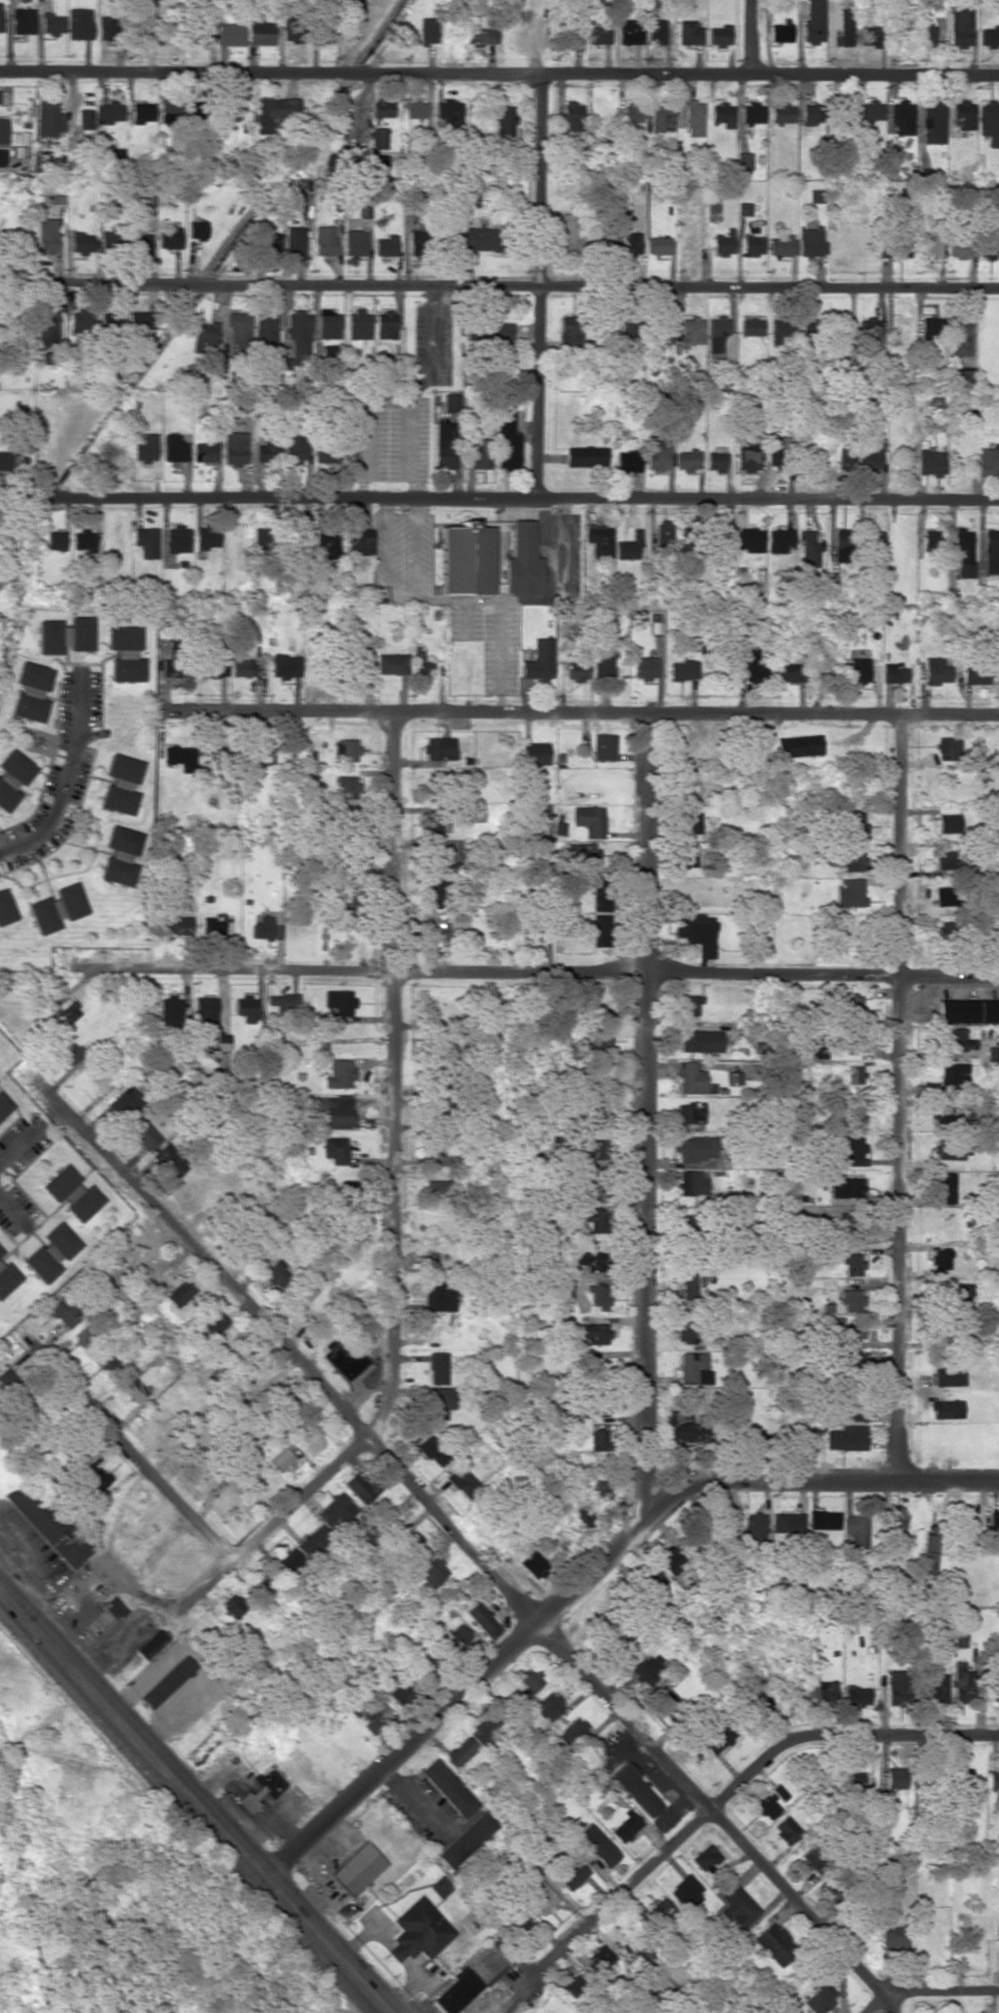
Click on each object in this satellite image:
building: (354, 8)
building: (0, 16)
building: (22, 20)
building: (813, 21)
building: (51, 23)
building: (79, 23)
building: (138, 26)
building: (960, 26)
building: (481, 27)
building: (110, 28)
building: (428, 30)
building: (599, 30)
building: (845, 30)
building: (261, 31)
building: (655, 31)
building: (781, 31)
building: (291, 32)
building: (628, 32)
building: (689, 32)
building: (572, 33)
building: (231, 34)
building: (719, 35)
road: (753, 35)
building: (869, 35)
building: (924, 36)
building: (989, 36)
road: (499, 75)
building: (383, 108)
building: (198, 109)
building: (872, 110)
building: (272, 111)
building: (416, 111)
building: (448, 111)
building: (109, 112)
building: (142, 112)
building: (228, 112)
building: (782, 112)
building: (631, 113)
building: (751, 113)
building: (813, 113)
building: (721, 114)
building: (962, 114)
building: (572, 116)
building: (86, 118)
building: (661, 118)
building: (693, 118)
building: (902, 118)
building: (49, 119)
building: (504, 119)
building: (932, 121)
building: (989, 122)
building: (3, 131)
building: (22, 137)
building: (379, 138)
building: (332, 150)
building: (2, 157)
building: (743, 160)
building: (379, 164)
building: (474, 192)
building: (815, 196)
building: (742, 208)
building: (197, 229)
building: (568, 232)
building: (47, 235)
building: (324, 235)
building: (356, 237)
building: (478, 237)
building: (169, 238)
building: (417, 240)
building: (82, 242)
building: (295, 242)
building: (597, 242)
building: (722, 242)
building: (810, 242)
building: (272, 243)
building: (628, 244)
building: (687, 244)
building: (895, 244)
building: (140, 245)
building: (386, 245)
building: (657, 245)
building: (751, 245)
building: (781, 245)
building: (959, 247)
building: (929, 248)
building: (988, 249)
road: (499, 285)
road: (541, 285)
building: (110, 320)
building: (141, 320)
building: (80, 321)
building: (328, 323)
building: (358, 324)
building: (839, 324)
building: (751, 326)
building: (808, 327)
building: (46, 328)
building: (237, 328)
building: (265, 328)
building: (868, 328)
building: (931, 328)
building: (388, 329)
building: (779, 329)
building: (497, 330)
building: (690, 330)
building: (299, 331)
building: (203, 334)
building: (568, 334)
building: (718, 336)
building: (958, 336)
building: (962, 378)
building: (451, 402)
building: (507, 440)
building: (445, 445)
building: (234, 447)
building: (295, 447)
building: (145, 448)
building: (173, 448)
building: (777, 448)
building: (267, 449)
building: (204, 451)
building: (326, 454)
building: (479, 455)
building: (845, 455)
building: (871, 455)
building: (585, 456)
building: (656, 457)
building: (747, 457)
building: (3, 459)
building: (686, 459)
building: (627, 460)
building: (715, 460)
building: (929, 462)
building: (987, 462)
road: (499, 497)
building: (717, 531)
building: (663, 535)
building: (207, 537)
building: (177, 539)
building: (748, 539)
building: (873, 539)
building: (931, 539)
building: (55, 540)
building: (83, 540)
building: (260, 540)
building: (599, 540)
building: (779, 540)
building: (146, 541)
building: (360, 541)
building: (328, 542)
building: (300, 544)
building: (629, 547)
building: (808, 549)
building: (961, 551)
building: (990, 551)
building: (464, 558)
building: (522, 561)
building: (64, 635)
building: (124, 653)
building: (538, 660)
building: (391, 663)
building: (421, 663)
building: (751, 664)
building: (602, 665)
building: (285, 666)
building: (215, 667)
building: (243, 667)
building: (576, 667)
building: (644, 667)
building: (681, 669)
building: (858, 669)
building: (830, 670)
building: (787, 671)
building: (935, 671)
building: (998, 672)
building: (893, 673)
building: (973, 675)
building: (30, 691)
road: (277, 712)
road: (695, 713)
building: (798, 745)
building: (603, 746)
building: (440, 748)
building: (948, 748)
building: (346, 750)
building: (534, 753)
building: (179, 754)
building: (261, 755)
building: (12, 777)
road: (66, 781)
building: (347, 783)
building: (120, 784)
building: (345, 813)
building: (589, 819)
building: (690, 822)
building: (854, 822)
building: (948, 822)
building: (441, 825)
building: (582, 853)
building: (119, 855)
building: (943, 857)
building: (686, 858)
building: (851, 860)
building: (439, 892)
building: (849, 892)
building: (600, 894)
building: (342, 896)
building: (943, 896)
building: (5, 907)
building: (57, 908)
building: (457, 920)
building: (213, 923)
building: (175, 924)
building: (263, 927)
building: (944, 928)
building: (600, 930)
building: (696, 932)
building: (434, 935)
road: (509, 969)
building: (283, 1001)
building: (338, 1001)
building: (689, 1003)
building: (850, 1003)
building: (246, 1007)
building: (67, 1010)
building: (170, 1010)
building: (967, 1010)
building: (700, 1040)
building: (596, 1041)
building: (961, 1041)
building: (68, 1051)
building: (337, 1074)
building: (953, 1074)
road: (391, 1075)
building: (854, 1075)
building: (690, 1078)
road: (900, 1096)
road: (641, 1098)
building: (124, 1103)
building: (3, 1107)
building: (331, 1111)
building: (595, 1111)
building: (690, 1112)
building: (941, 1114)
building: (854, 1116)
building: (144, 1132)
road: (28, 1134)
building: (436, 1143)
building: (695, 1148)
building: (950, 1148)
building: (334, 1149)
building: (590, 1149)
building: (853, 1151)
building: (171, 1159)
building: (691, 1182)
building: (598, 1186)
building: (846, 1186)
building: (944, 1187)
building: (438, 1189)
building: (71, 1193)
building: (348, 1204)
building: (594, 1219)
building: (848, 1222)
building: (685, 1229)
road: (184, 1239)
building: (0, 1252)
building: (50, 1252)
building: (940, 1258)
building: (588, 1259)
building: (852, 1263)
building: (274, 1273)
building: (6, 1277)
building: (688, 1278)
building: (563, 1289)
building: (953, 1291)
building: (179, 1293)
building: (437, 1295)
building: (598, 1296)
building: (852, 1299)
building: (63, 1312)
building: (213, 1324)
building: (851, 1330)
building: (596, 1332)
building: (688, 1332)
building: (85, 1336)
building: (229, 1348)
building: (343, 1359)
building: (108, 1363)
building: (691, 1366)
building: (437, 1367)
building: (252, 1374)
building: (8, 1376)
building: (948, 1376)
building: (134, 1389)
building: (439, 1401)
building: (26, 1408)
building: (597, 1408)
building: (946, 1409)
building: (856, 1413)
building: (682, 1426)
building: (846, 1437)
building: (599, 1440)
building: (433, 1450)
road: (135, 1455)
building: (282, 1460)
building: (97, 1478)
building: (463, 1481)
road: (726, 1482)
building: (599, 1486)
building: (360, 1487)
building: (337, 1512)
building: (581, 1517)
building: (823, 1519)
building: (895, 1519)
building: (994, 1521)
building: (787, 1522)
road: (270, 1523)
building: (47, 1524)
road: (451, 1527)
building: (755, 1527)
building: (857, 1529)
building: (723, 1539)
building: (315, 1541)
building: (930, 1549)
building: (290, 1559)
building: (671, 1559)
building: (533, 1564)
building: (432, 1572)
building: (649, 1575)
building: (260, 1588)
building: (233, 1606)
building: (104, 1618)
building: (483, 1619)
building: (460, 1635)
building: (152, 1643)
building: (624, 1647)
building: (422, 1668)
building: (167, 1681)
building: (962, 1682)
building: (898, 1686)
building: (938, 1686)
building: (400, 1690)
building: (826, 1692)
building: (856, 1695)
building: (763, 1704)
building: (550, 1706)
building: (373, 1712)
building: (485, 1728)
building: (573, 1733)
road: (129, 1734)
building: (718, 1737)
road: (398, 1748)
building: (460, 1752)
building: (895, 1777)
building: (963, 1778)
building: (994, 1783)
building: (261, 1788)
building: (448, 1788)
building: (636, 1790)
building: (779, 1791)
road: (715, 1804)
building: (766, 1805)
road: (719, 1817)
building: (626, 1826)
building: (786, 1829)
building: (467, 1839)
building: (598, 1844)
building: (705, 1857)
building: (814, 1857)
building: (358, 1868)
building: (573, 1875)
building: (441, 1886)
building: (687, 1890)
building: (541, 1896)
building: (737, 1905)
building: (663, 1911)
building: (518, 1924)
building: (420, 1930)
building: (998, 1931)
building: (894, 1936)
road: (323, 1943)
building: (775, 1944)
building: (599, 1960)
building: (471, 1977)
building: (572, 1985)
road: (931, 1991)
building: (820, 1998)
road: (371, 2008)

